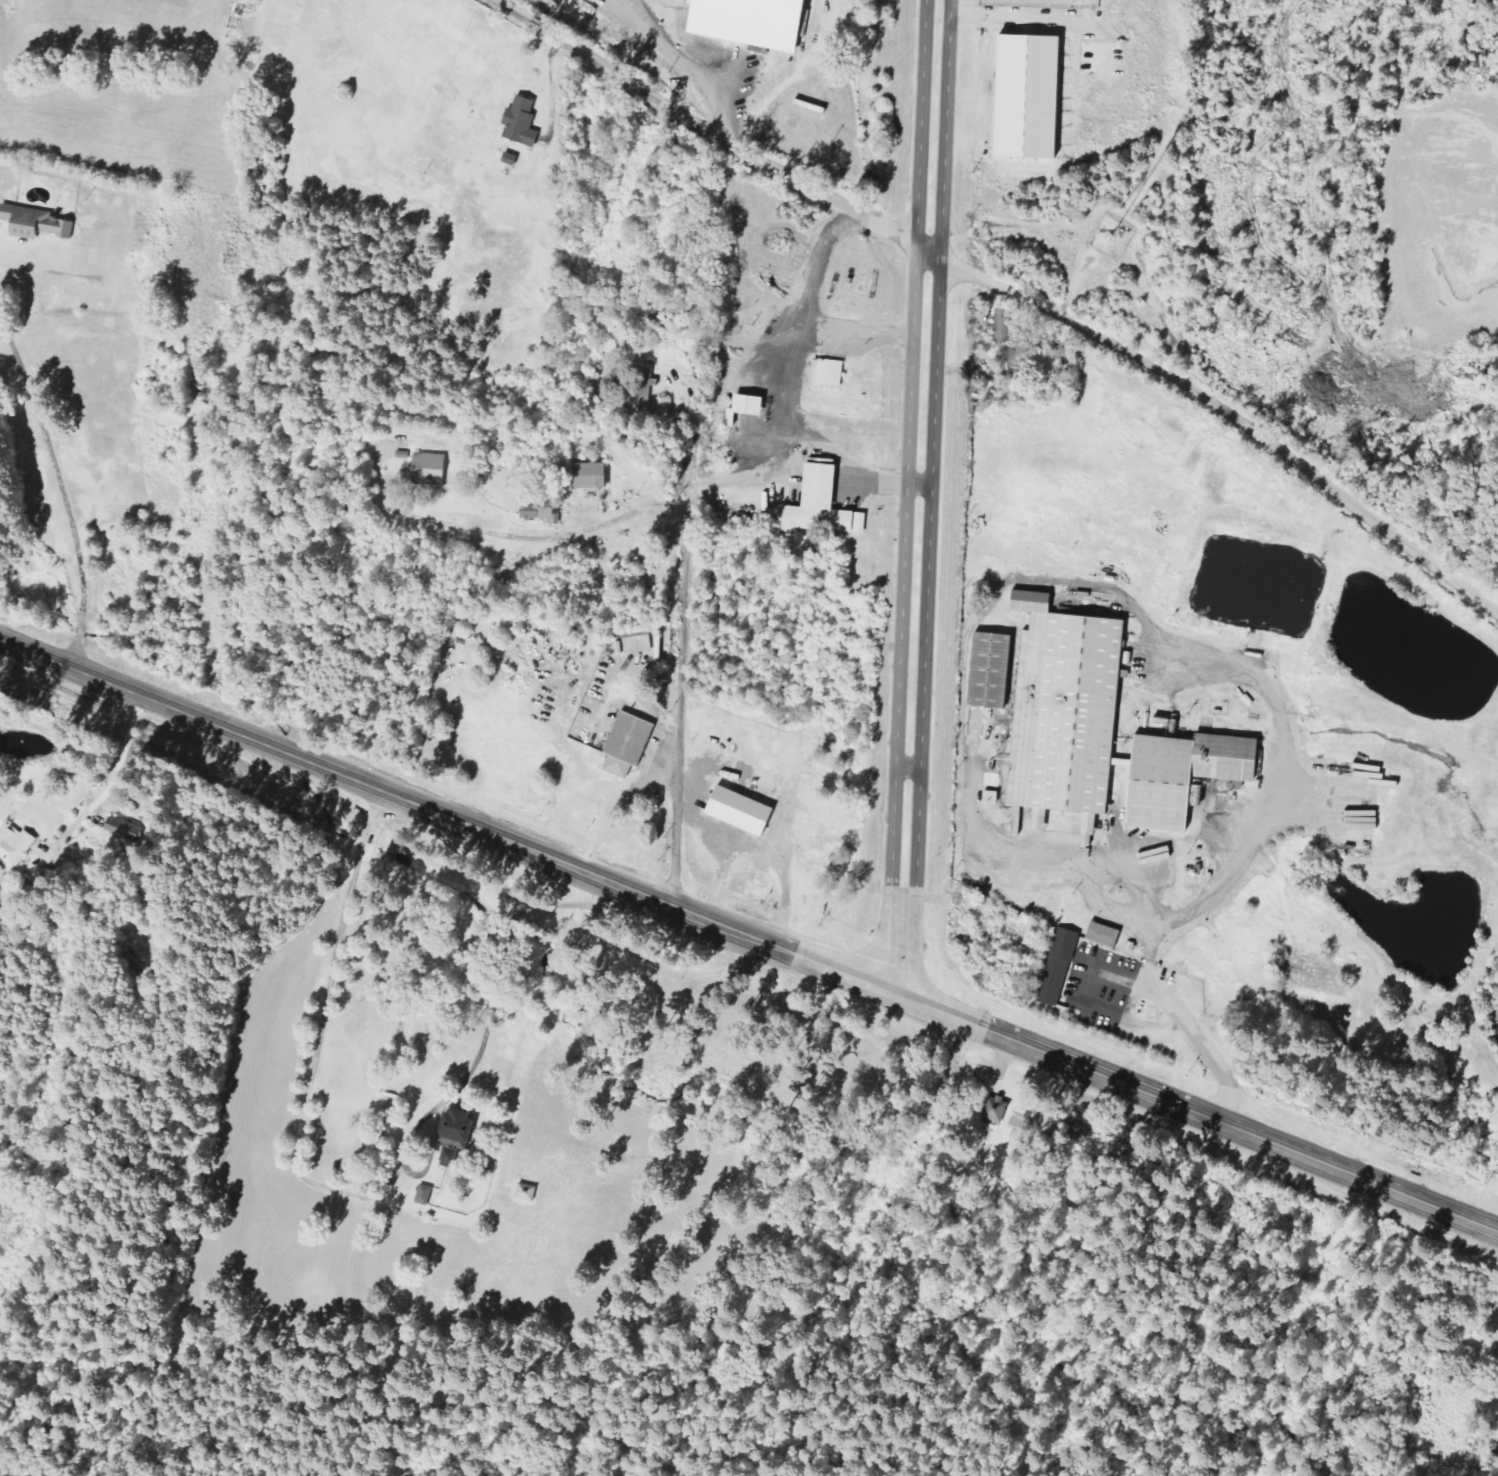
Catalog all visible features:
building: (759, 22)
building: (1022, 96)
building: (526, 123)
building: (39, 223)
park: (1465, 245)
road: (995, 284)
building: (1000, 326)
road: (851, 335)
building: (826, 372)
road: (782, 374)
building: (645, 389)
building: (744, 404)
road: (910, 441)
road: (933, 442)
building: (425, 469)
building: (586, 475)
road: (920, 486)
road: (63, 493)
building: (818, 504)
building: (537, 512)
road: (583, 527)
building: (637, 640)
road: (681, 645)
building: (991, 669)
building: (1065, 711)
building: (624, 744)
road: (118, 750)
road: (909, 768)
building: (1183, 774)
building: (988, 797)
road: (396, 798)
building: (735, 810)
building: (13, 845)
building: (1101, 934)
building: (1058, 966)
road: (891, 990)
road: (899, 992)
road: (1184, 1020)
road: (482, 1037)
road: (1086, 1067)
building: (992, 1108)
building: (454, 1132)
road: (1341, 1167)
building: (421, 1194)

